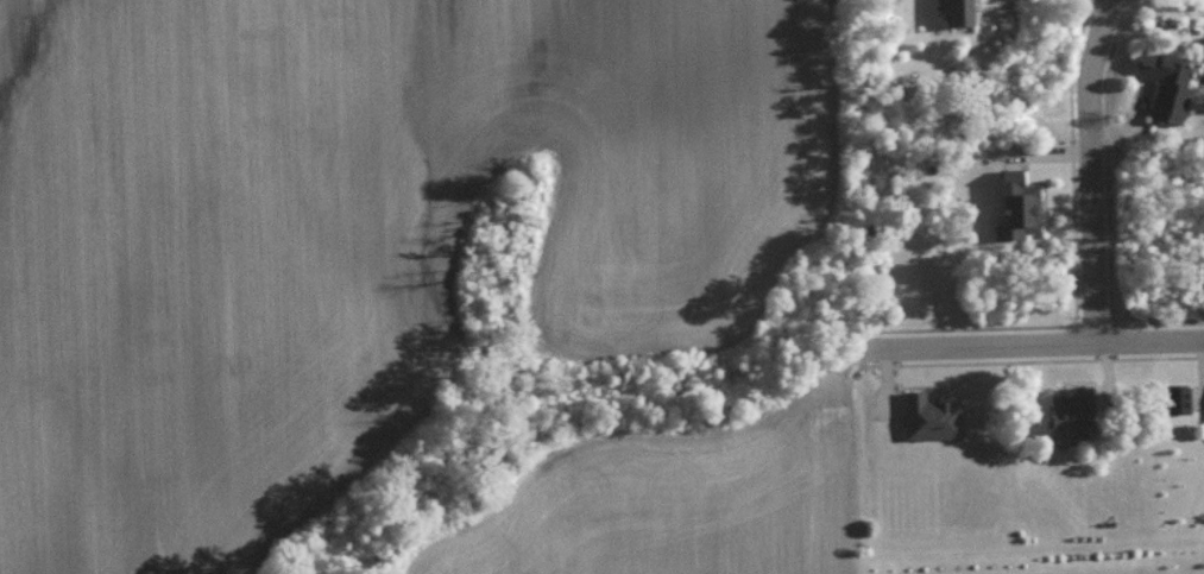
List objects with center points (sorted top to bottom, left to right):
building: (959, 12)
building: (1166, 82)
road: (1090, 168)
building: (1017, 206)
road: (1035, 341)
building: (1178, 397)
building: (1074, 410)
building: (932, 415)

